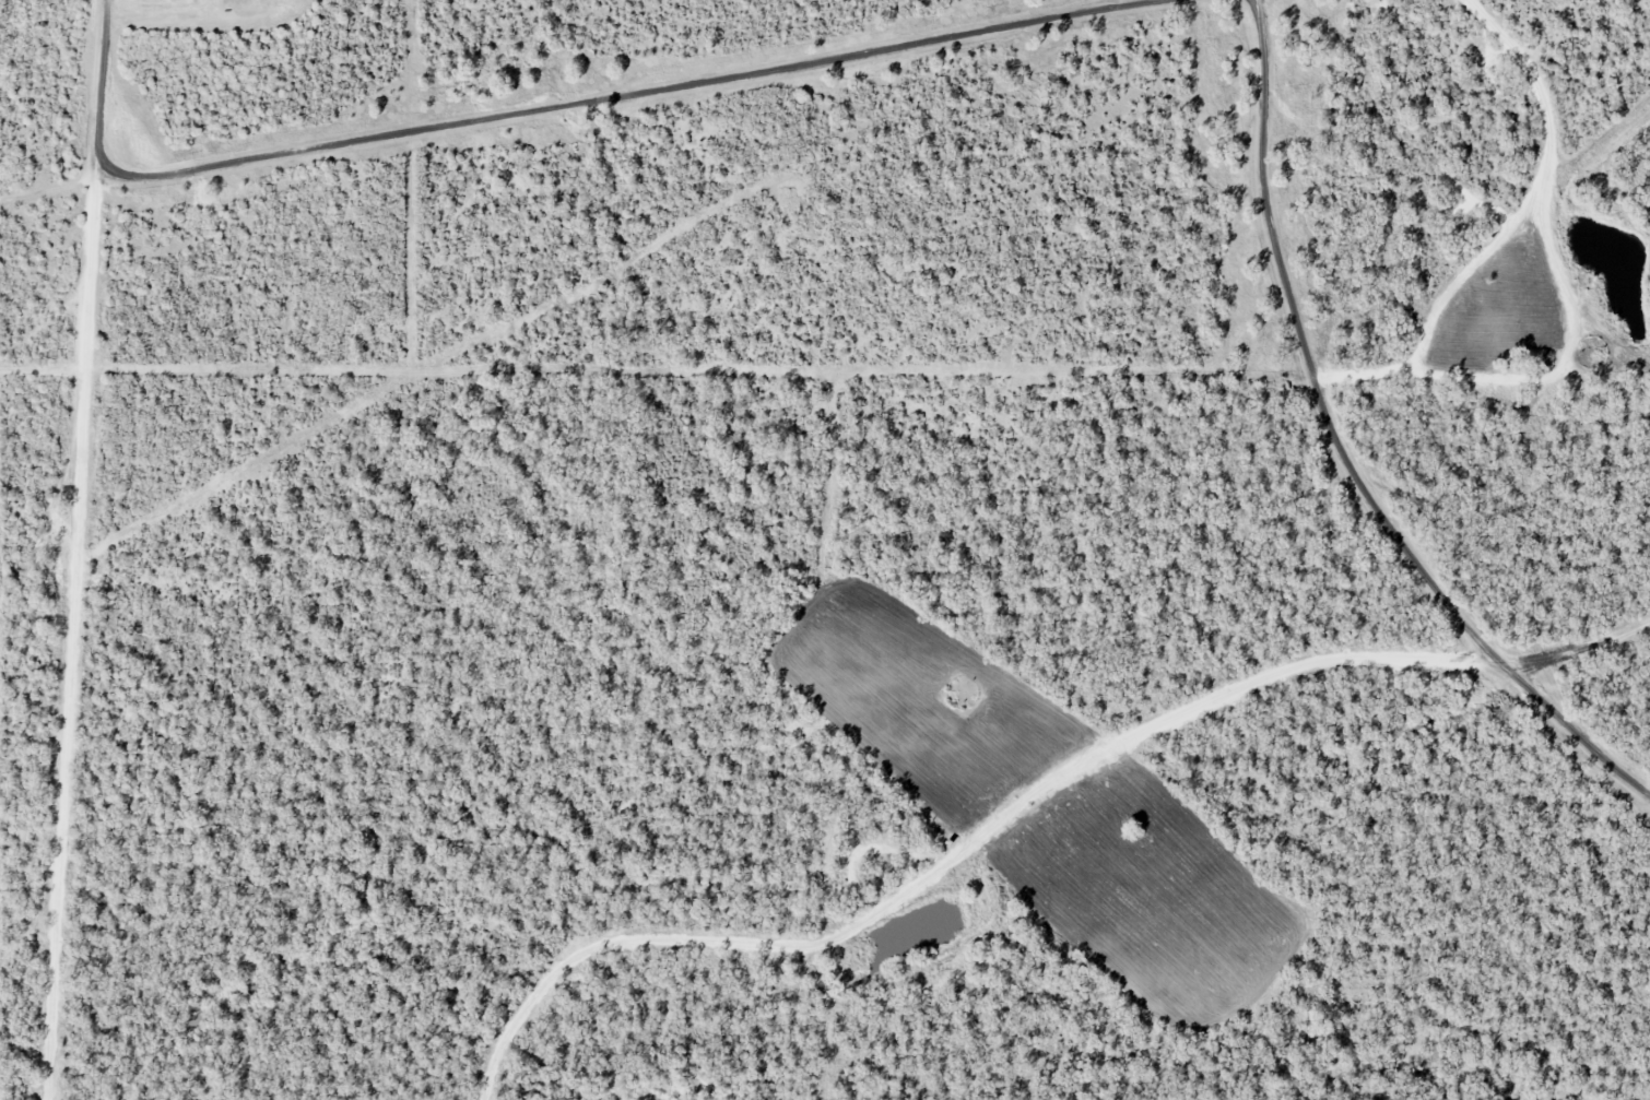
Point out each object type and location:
road: (549, 106)
road: (1508, 236)
road: (1341, 451)
road: (76, 630)
road: (1024, 804)

